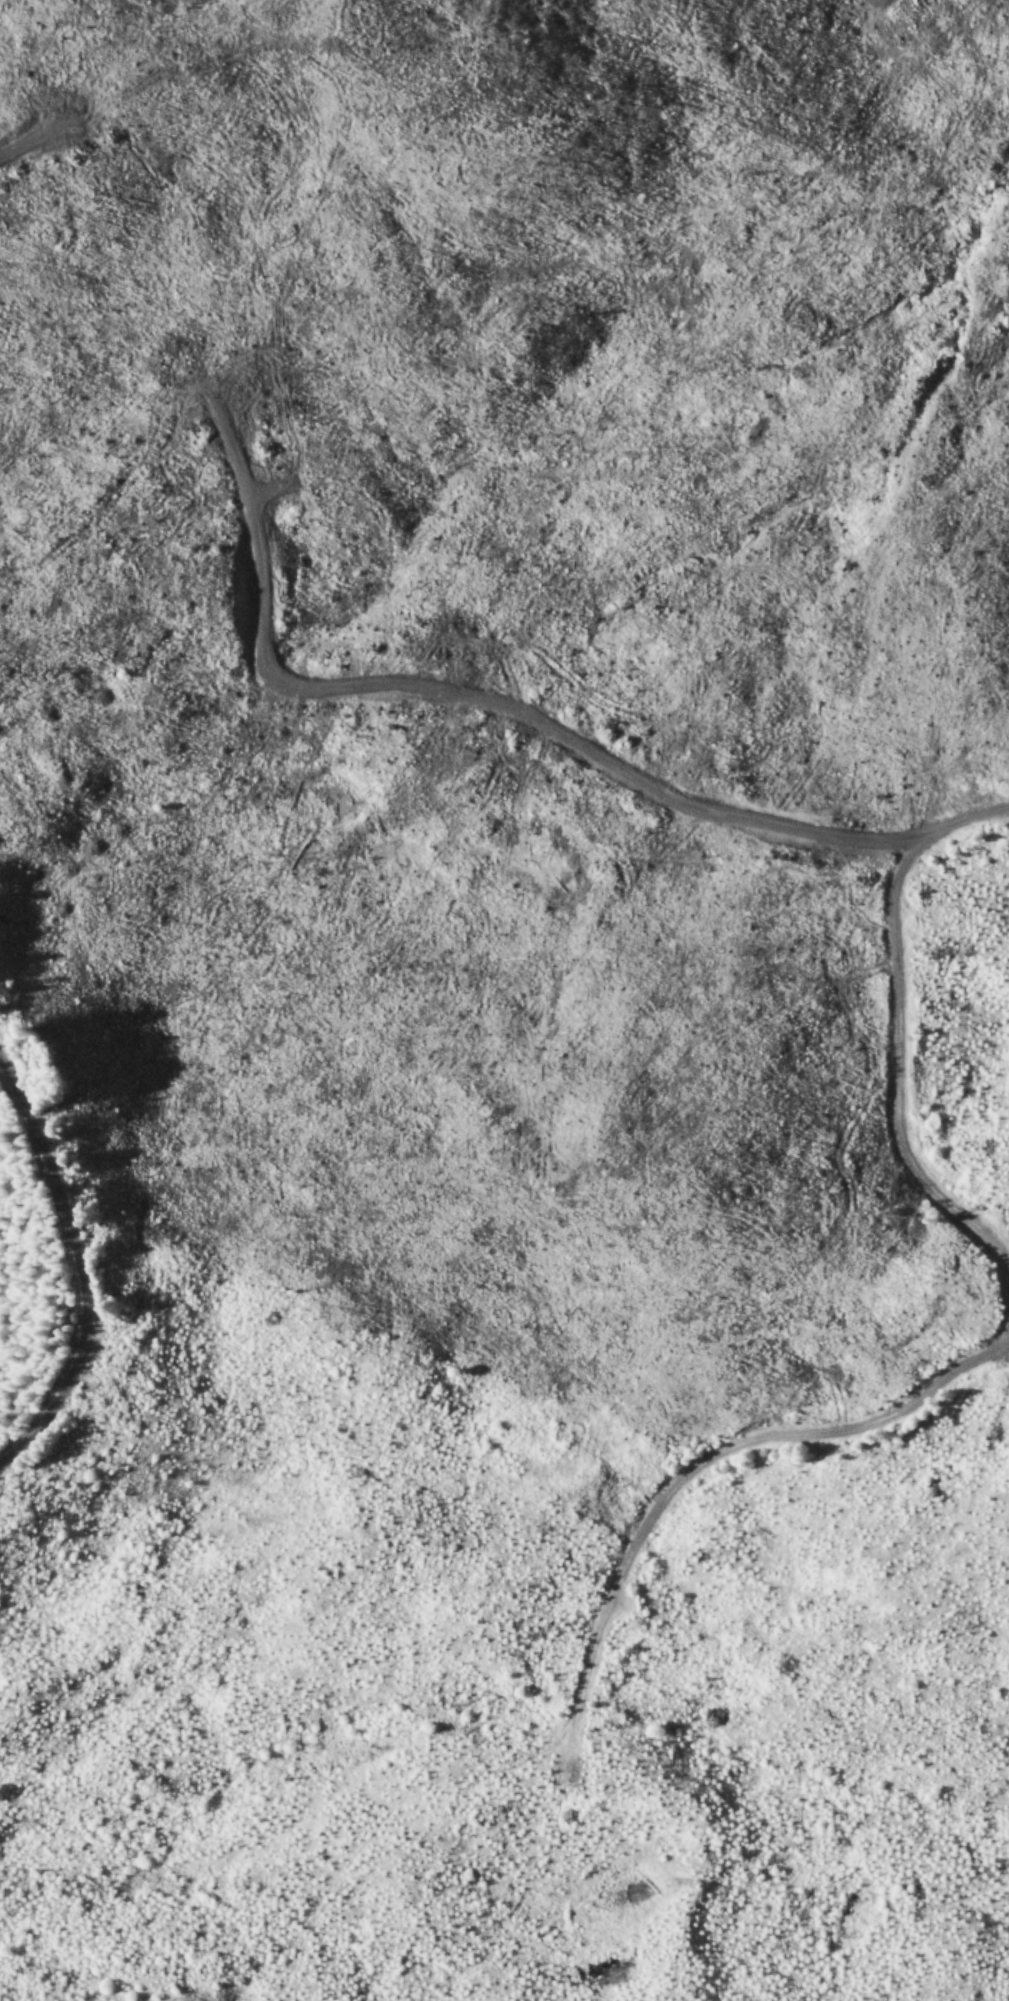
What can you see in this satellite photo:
road: (912, 1011)
road: (76, 1262)
road: (700, 1461)

